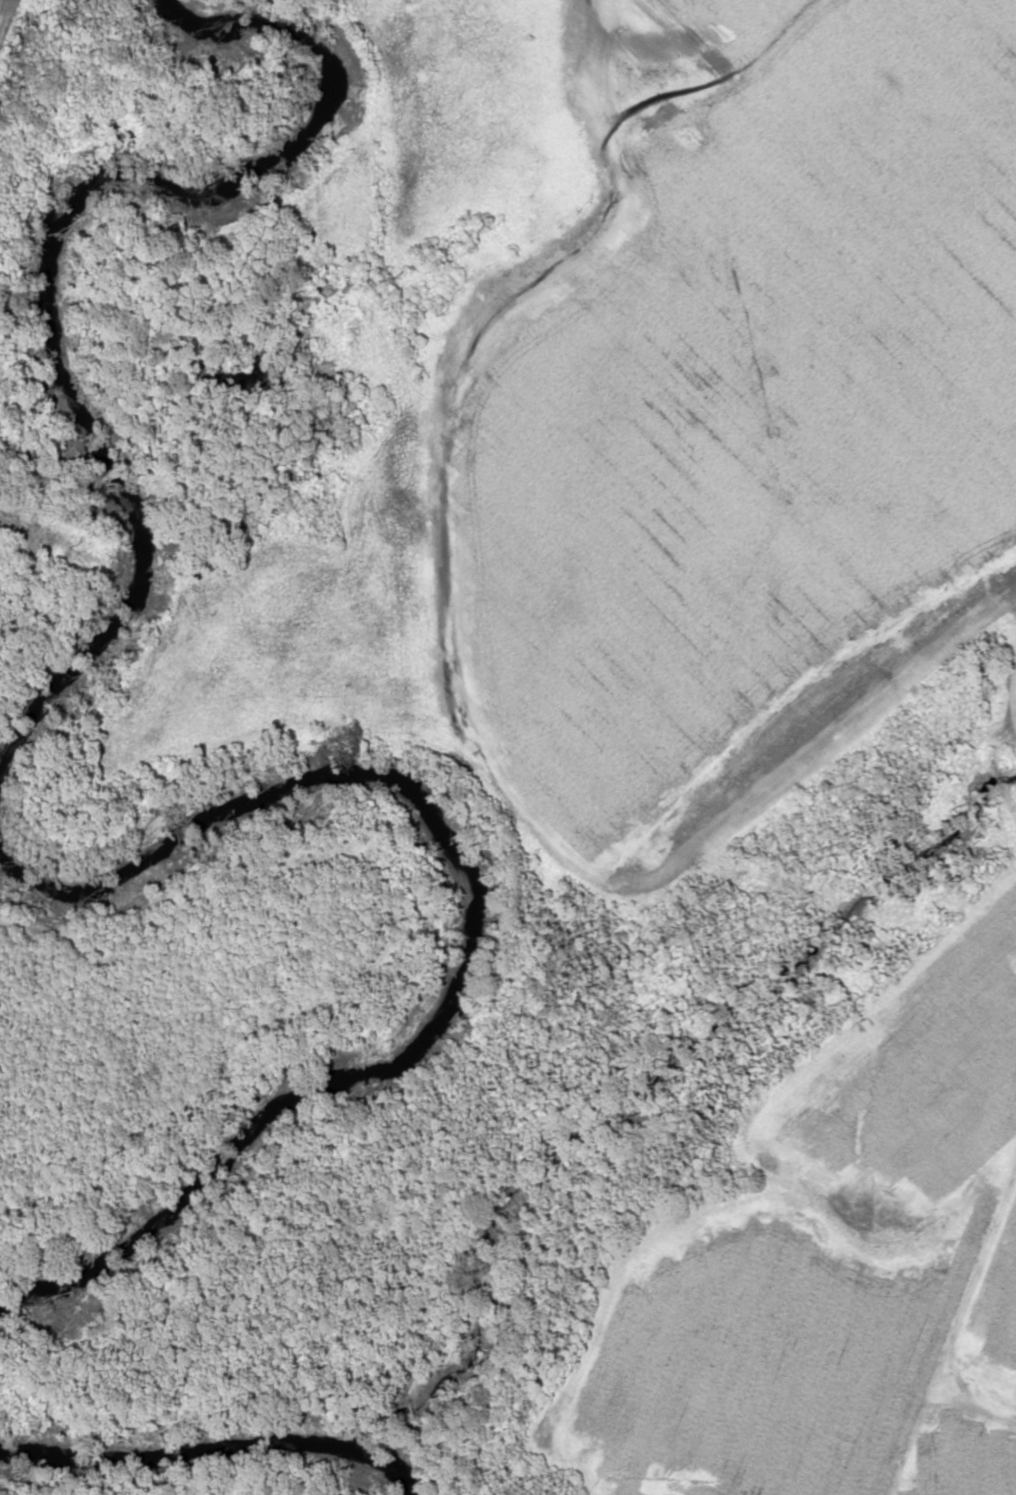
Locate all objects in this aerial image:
river: (14, 835)
river: (208, 1459)

